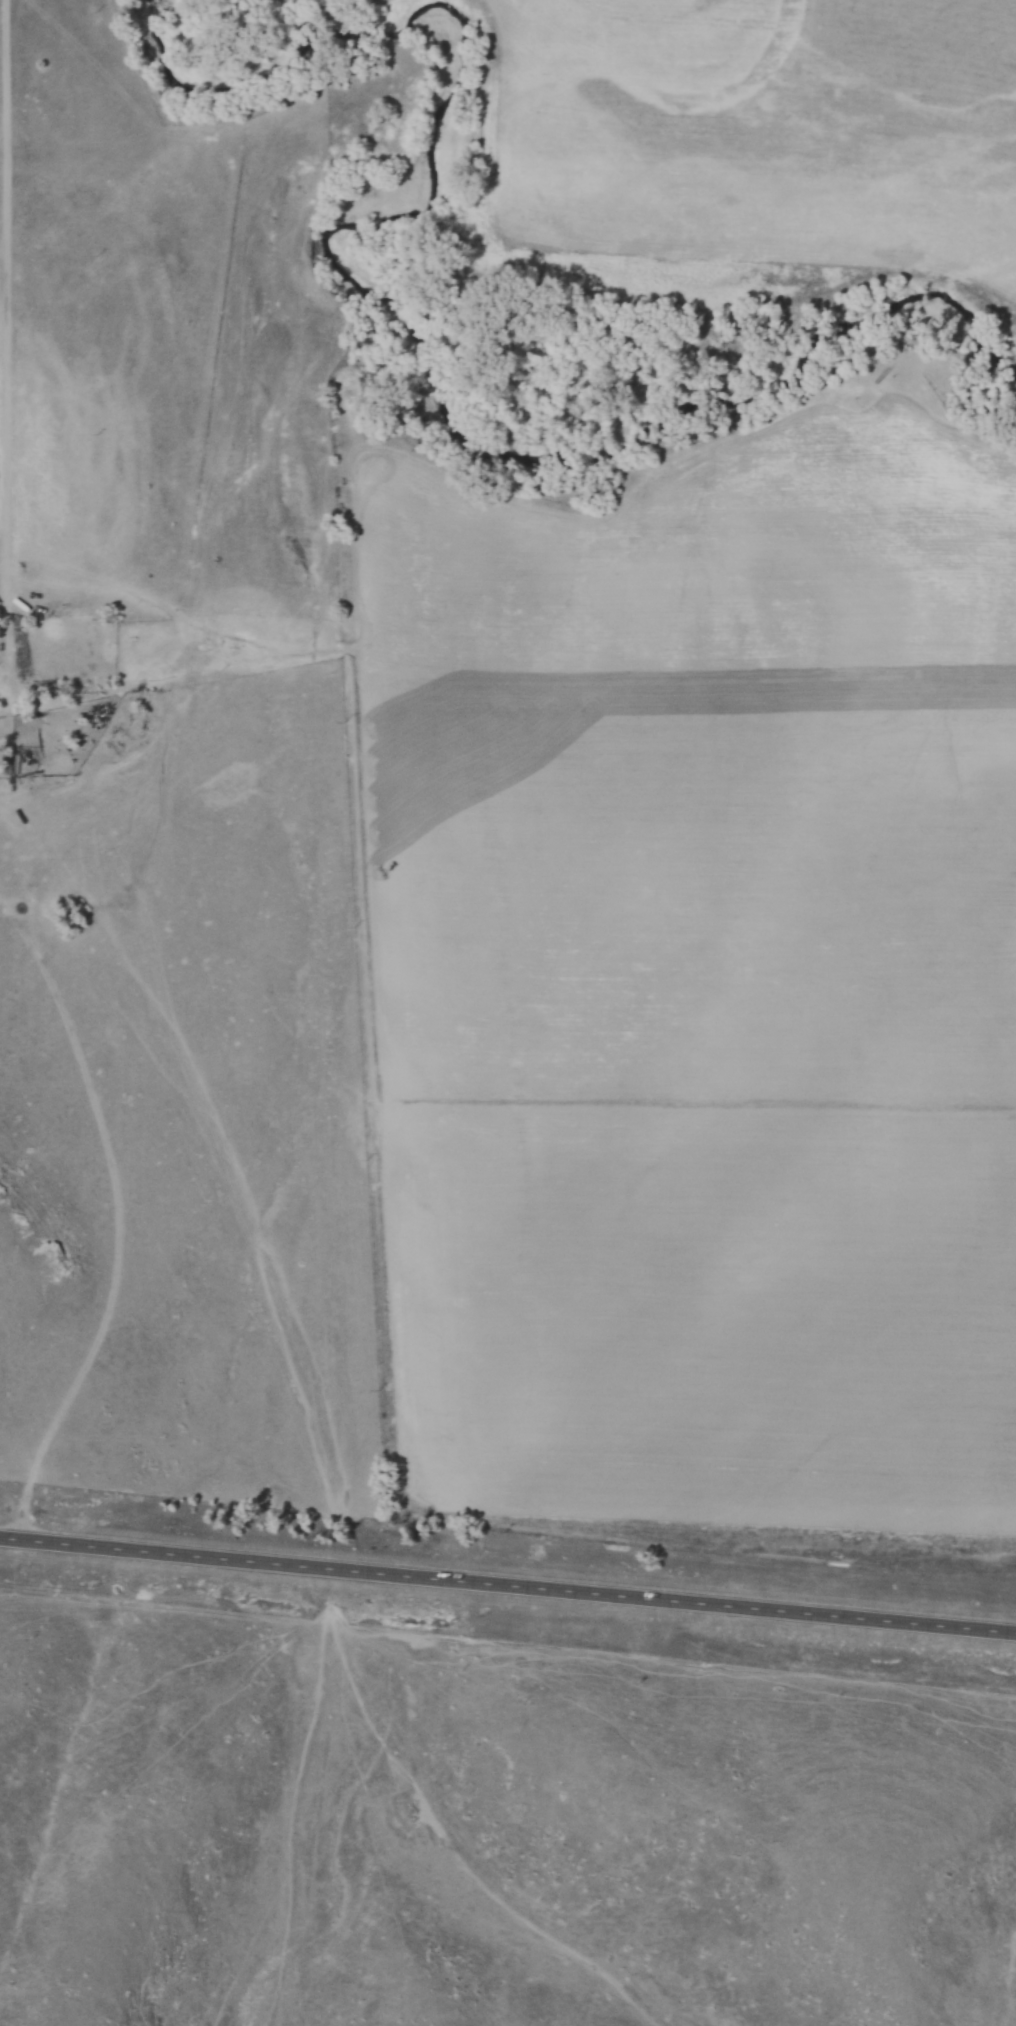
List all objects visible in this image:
road: (6, 353)
crop: (699, 980)
road: (508, 1586)

